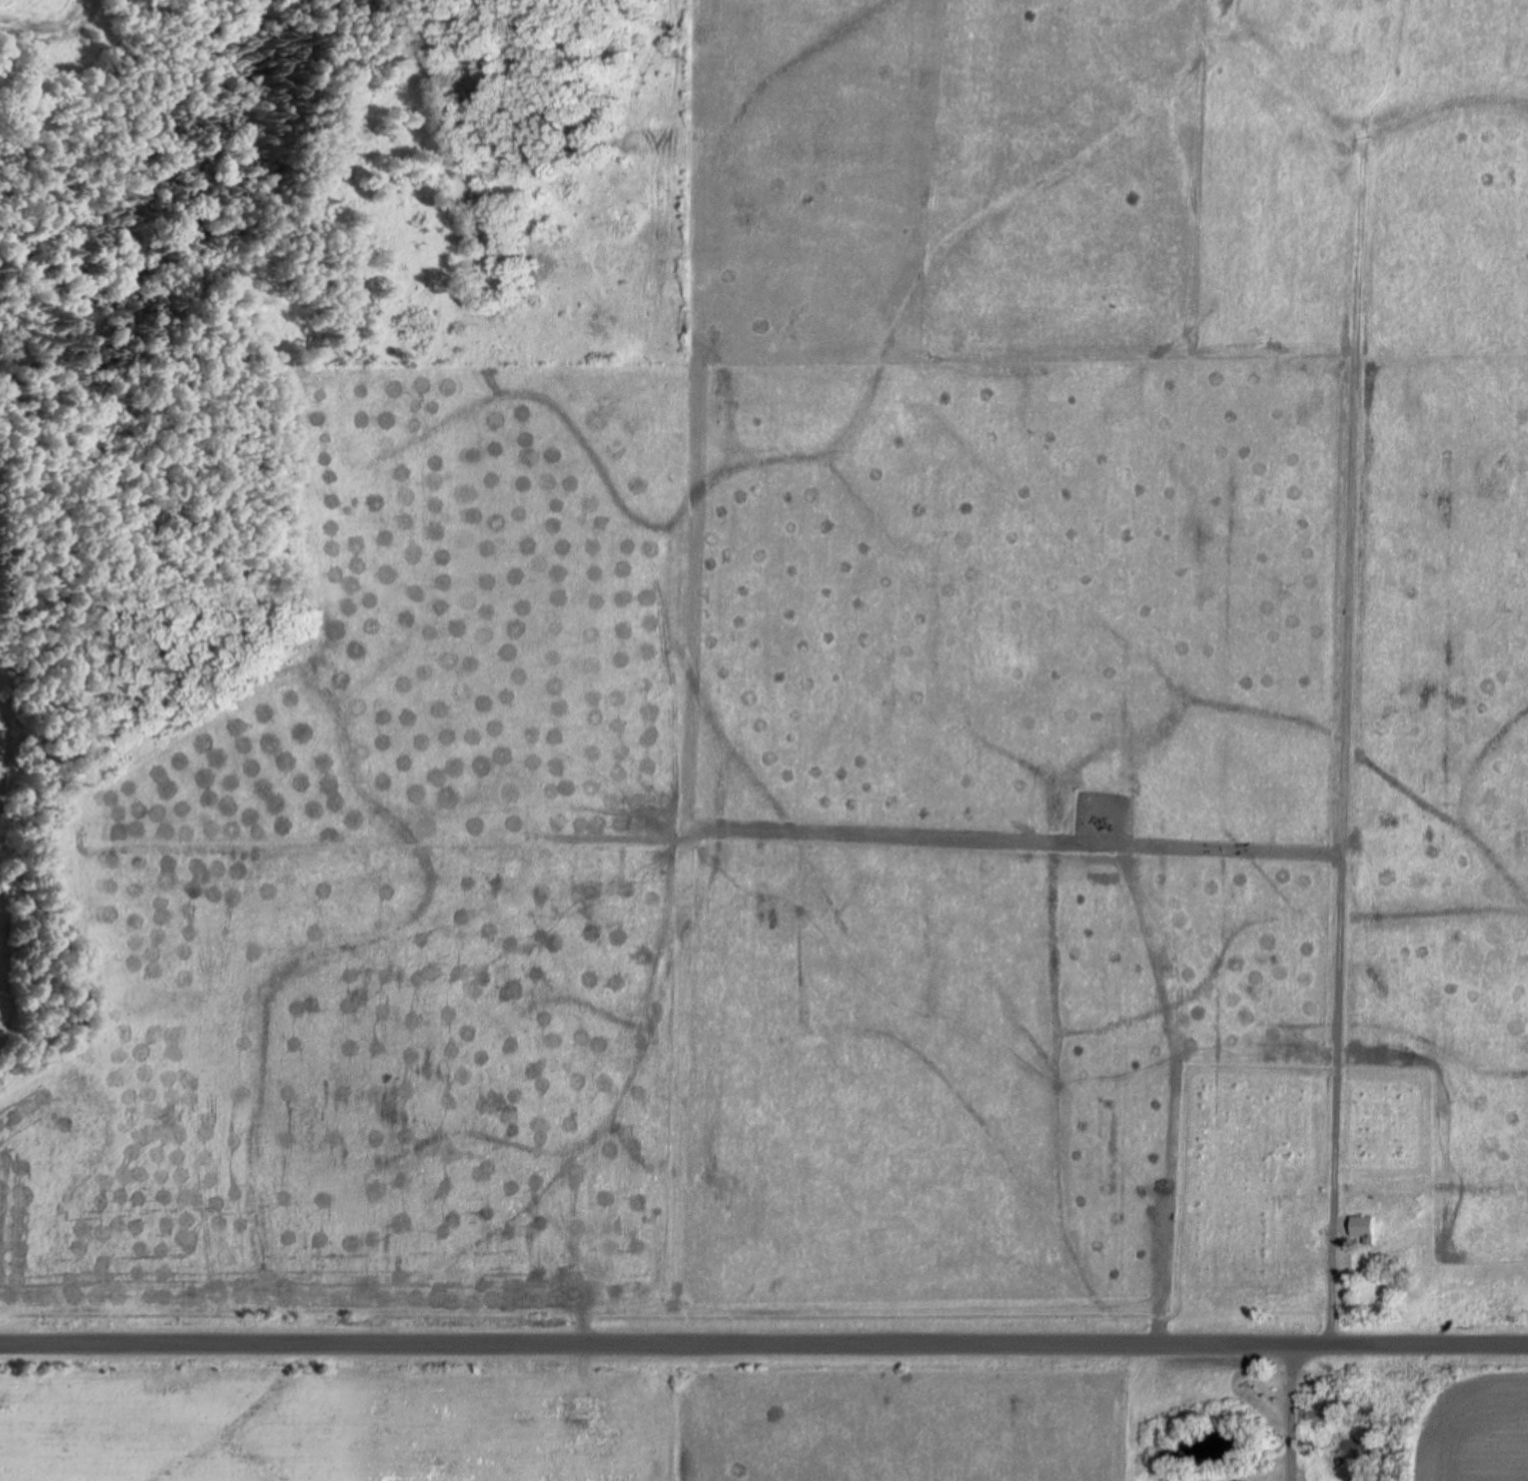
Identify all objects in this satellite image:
building: (1365, 1224)
building: (1377, 1251)
road: (764, 1348)

